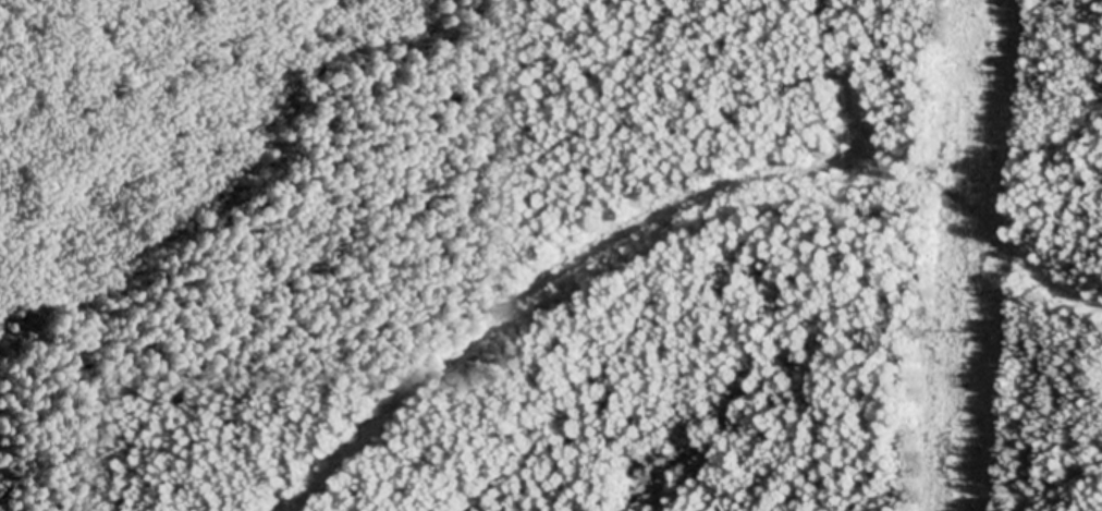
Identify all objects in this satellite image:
road: (670, 218)
power tower: (967, 332)

